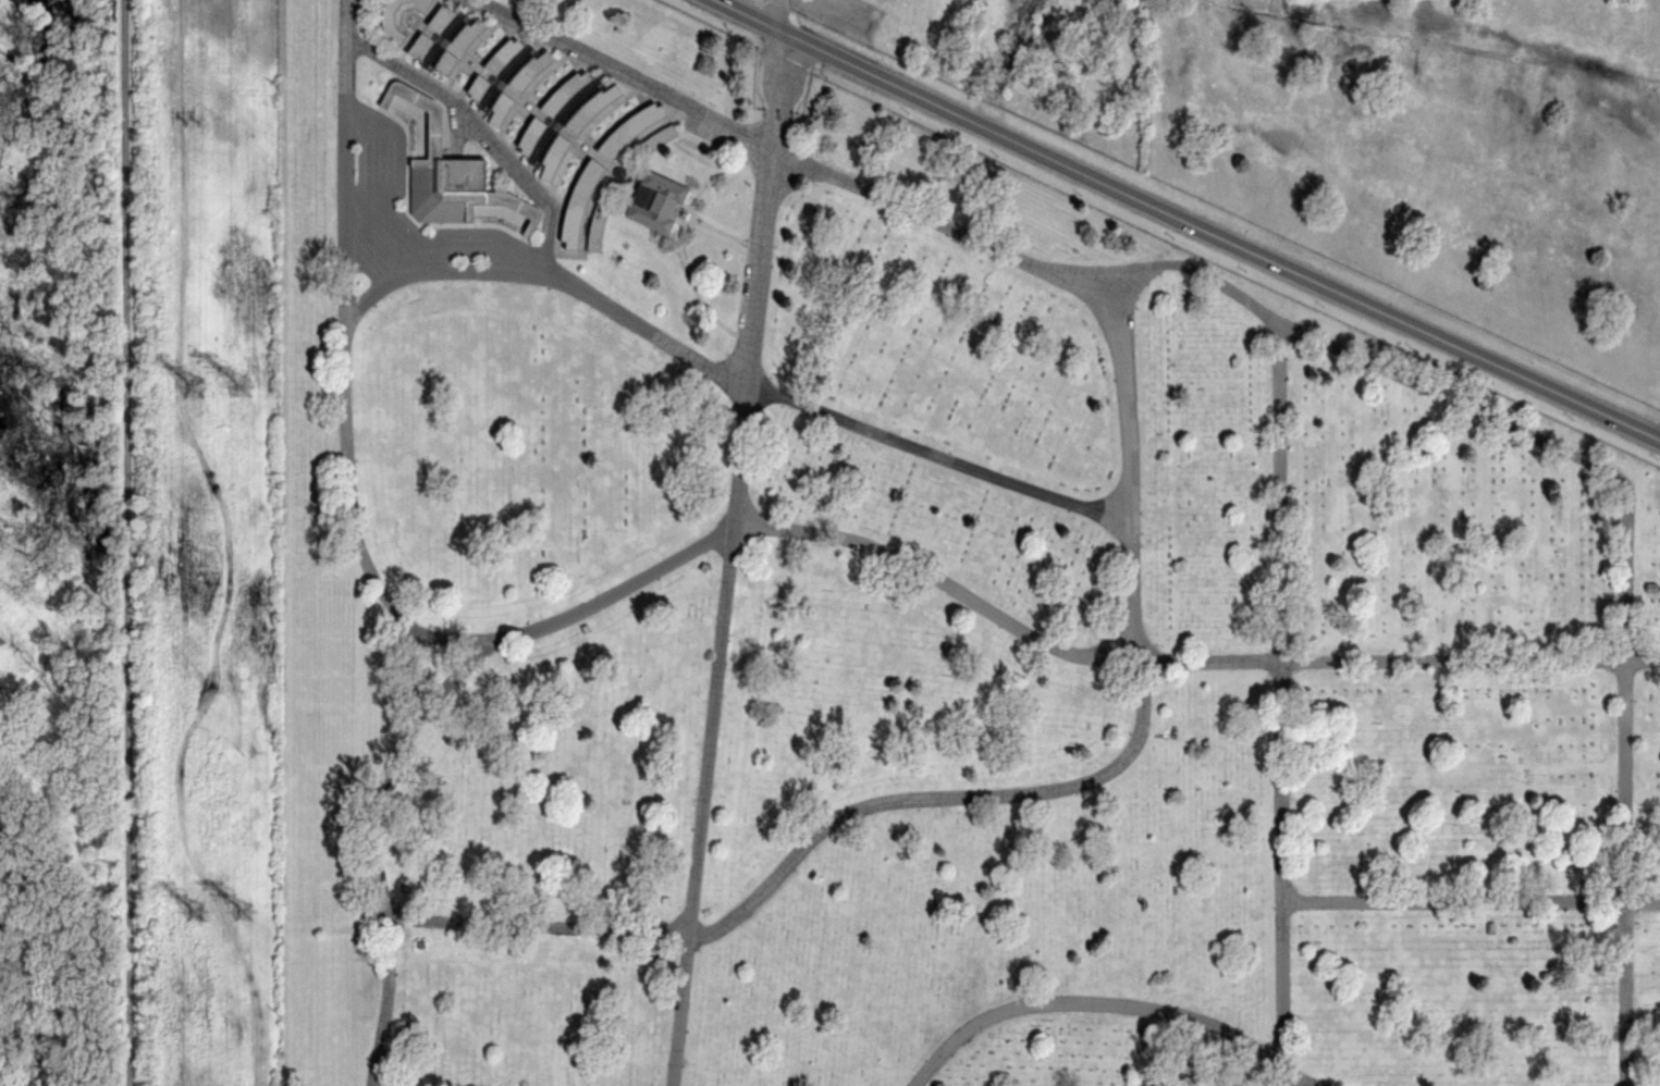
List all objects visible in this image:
road: (771, 10)
building: (455, 26)
building: (506, 77)
building: (563, 120)
road: (482, 137)
building: (654, 138)
building: (656, 201)
road: (1193, 218)
building: (595, 226)
road: (1319, 342)
road: (724, 380)
power tower: (248, 384)
power tower: (193, 388)
road: (130, 543)
road: (364, 554)
road: (728, 556)
park: (903, 610)
road: (995, 615)
road: (445, 634)
road: (1281, 704)
road: (980, 797)
road: (1471, 902)
power tower: (251, 905)
power tower: (196, 906)
road: (1112, 1005)

